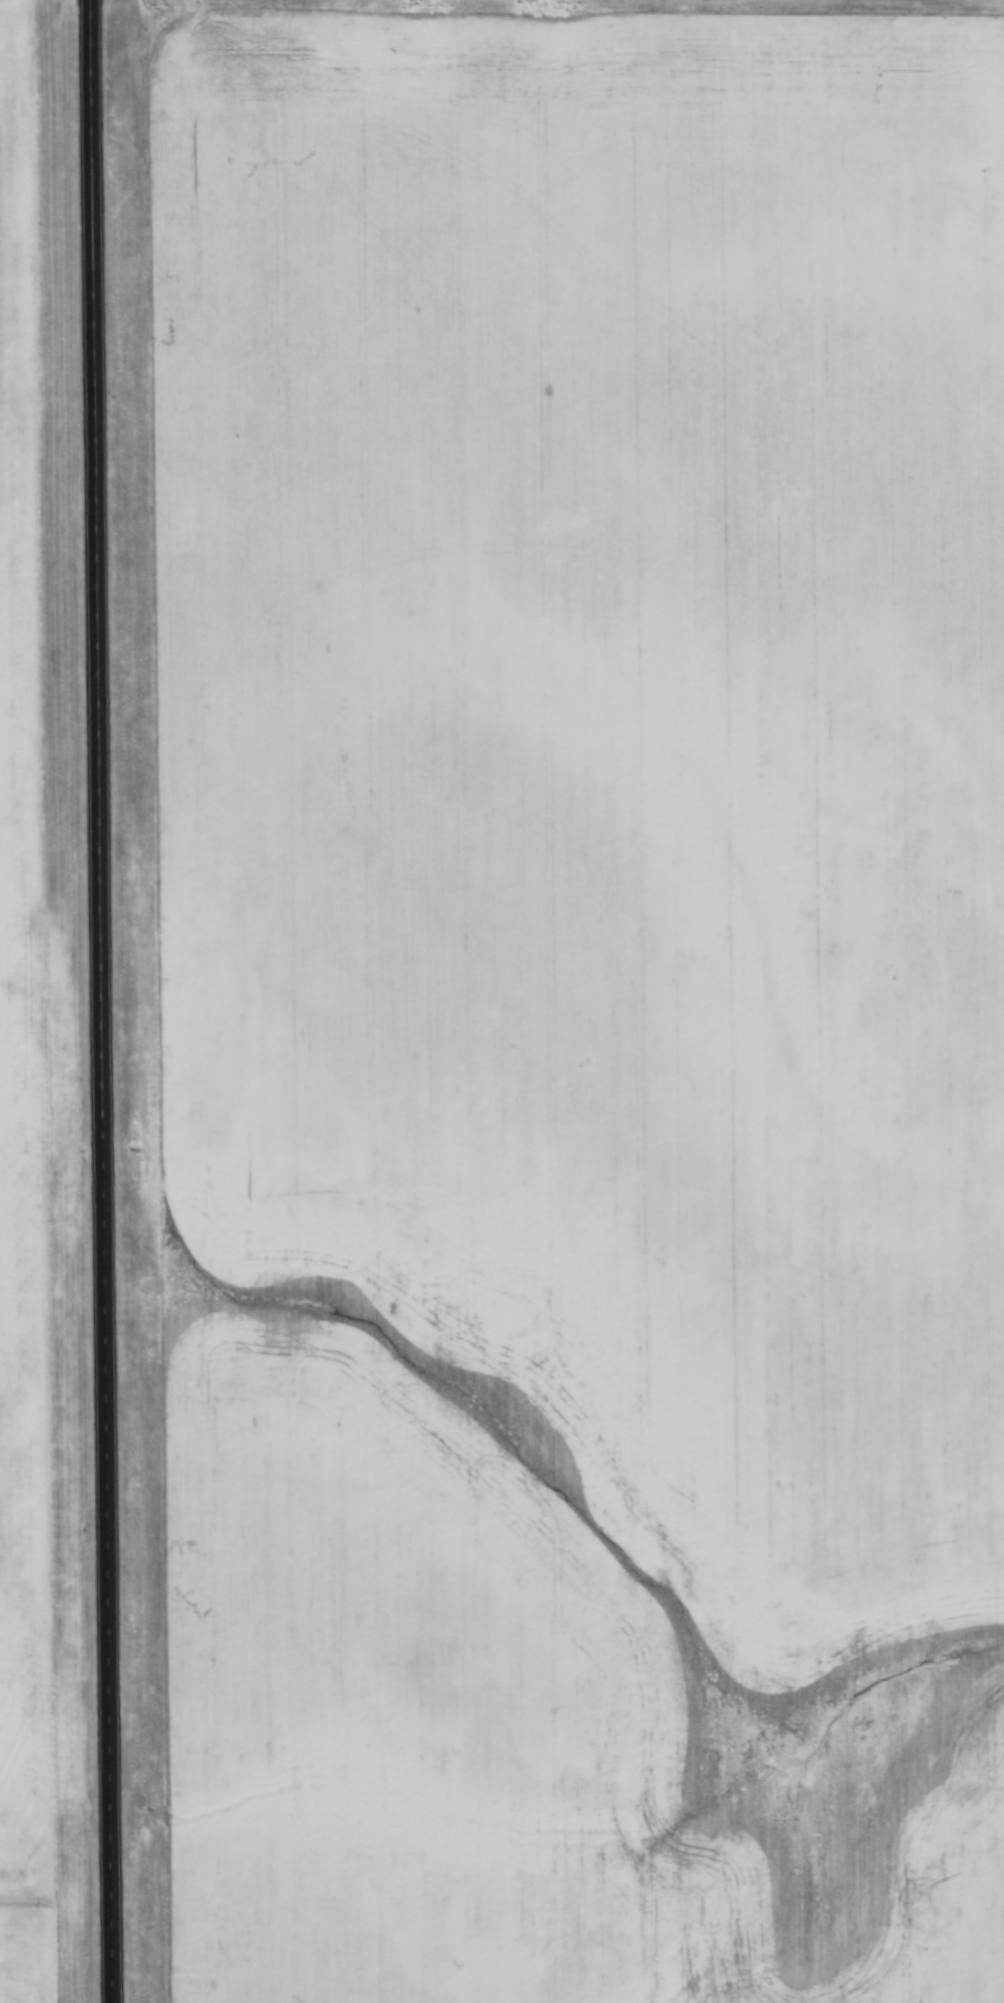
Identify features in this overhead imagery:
road: (105, 889)
road: (109, 1891)

